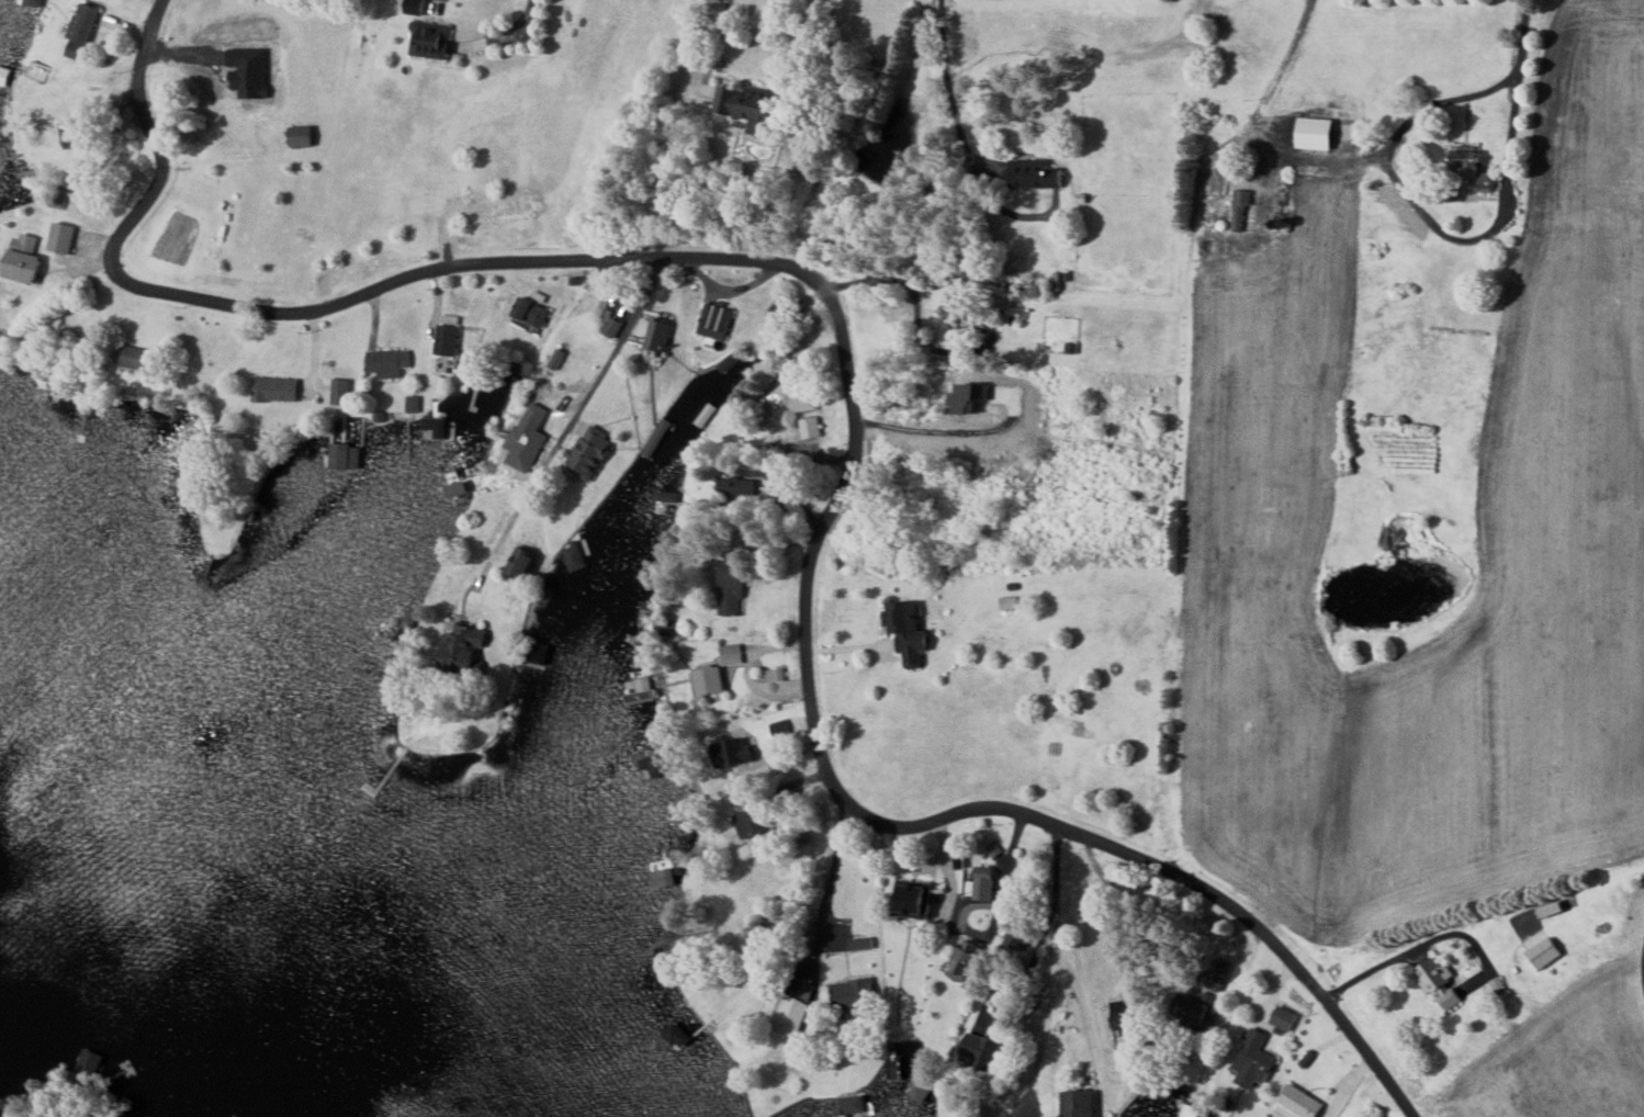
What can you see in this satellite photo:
building: (30, 2)
building: (413, 10)
building: (80, 31)
road: (1522, 32)
building: (428, 41)
building: (3, 77)
road: (949, 88)
building: (745, 106)
building: (72, 133)
building: (1314, 133)
building: (1470, 173)
building: (1033, 174)
building: (1239, 207)
road: (1421, 217)
building: (59, 236)
building: (21, 257)
building: (953, 309)
building: (528, 313)
building: (713, 319)
building: (610, 326)
building: (656, 334)
building: (446, 338)
building: (131, 356)
building: (462, 360)
building: (385, 362)
road: (609, 362)
building: (273, 387)
building: (338, 390)
road: (847, 392)
building: (970, 394)
building: (412, 403)
building: (796, 409)
building: (703, 413)
building: (432, 426)
building: (523, 443)
building: (587, 451)
building: (344, 455)
building: (731, 489)
building: (666, 495)
building: (575, 553)
building: (519, 562)
building: (730, 582)
building: (1007, 601)
building: (905, 630)
building: (461, 644)
building: (730, 653)
building: (773, 674)
building: (708, 680)
building: (652, 765)
building: (750, 821)
building: (662, 877)
road: (1057, 877)
road: (831, 885)
building: (978, 885)
building: (911, 898)
building: (1550, 909)
building: (859, 943)
building: (1543, 952)
building: (964, 959)
building: (1437, 981)
building: (852, 997)
building: (792, 1009)
building: (1194, 1011)
building: (1125, 1016)
building: (1282, 1017)
road: (1088, 1019)
building: (979, 1050)
building: (1252, 1060)
building: (1078, 1103)
building: (1296, 1103)
building: (851, 1104)
building: (5, 1107)
building: (1190, 1110)

